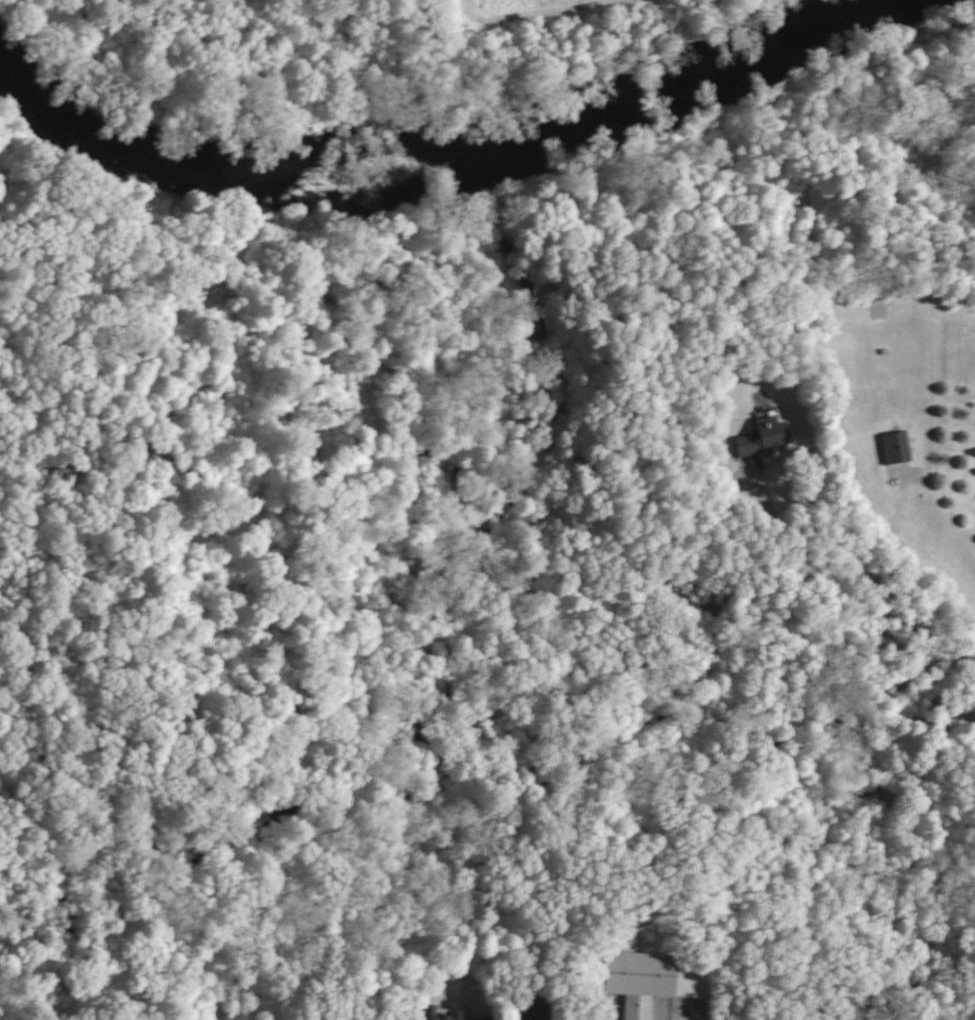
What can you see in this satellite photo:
river: (465, 159)
building: (764, 437)
building: (897, 448)
road: (864, 580)
building: (539, 1011)
building: (444, 1016)
building: (487, 1018)

